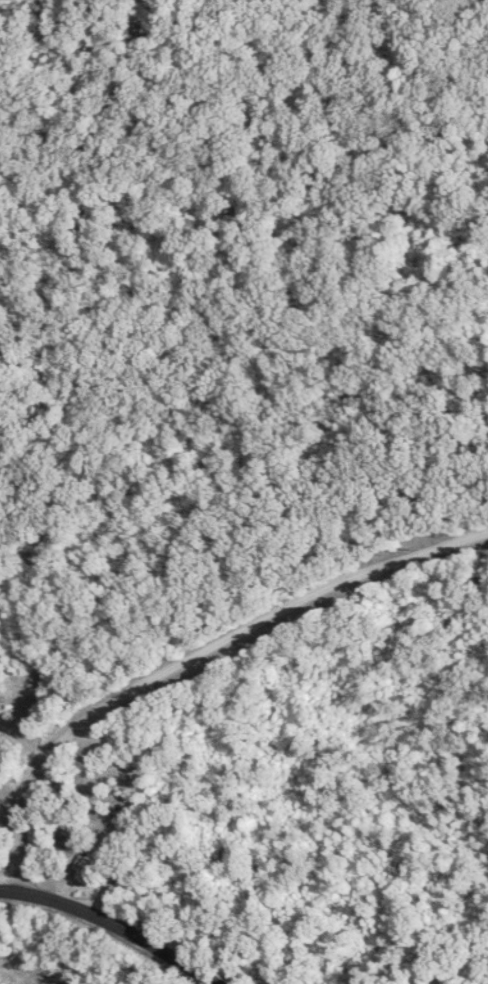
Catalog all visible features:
road: (191, 660)
building: (70, 838)
building: (96, 868)
road: (117, 935)

